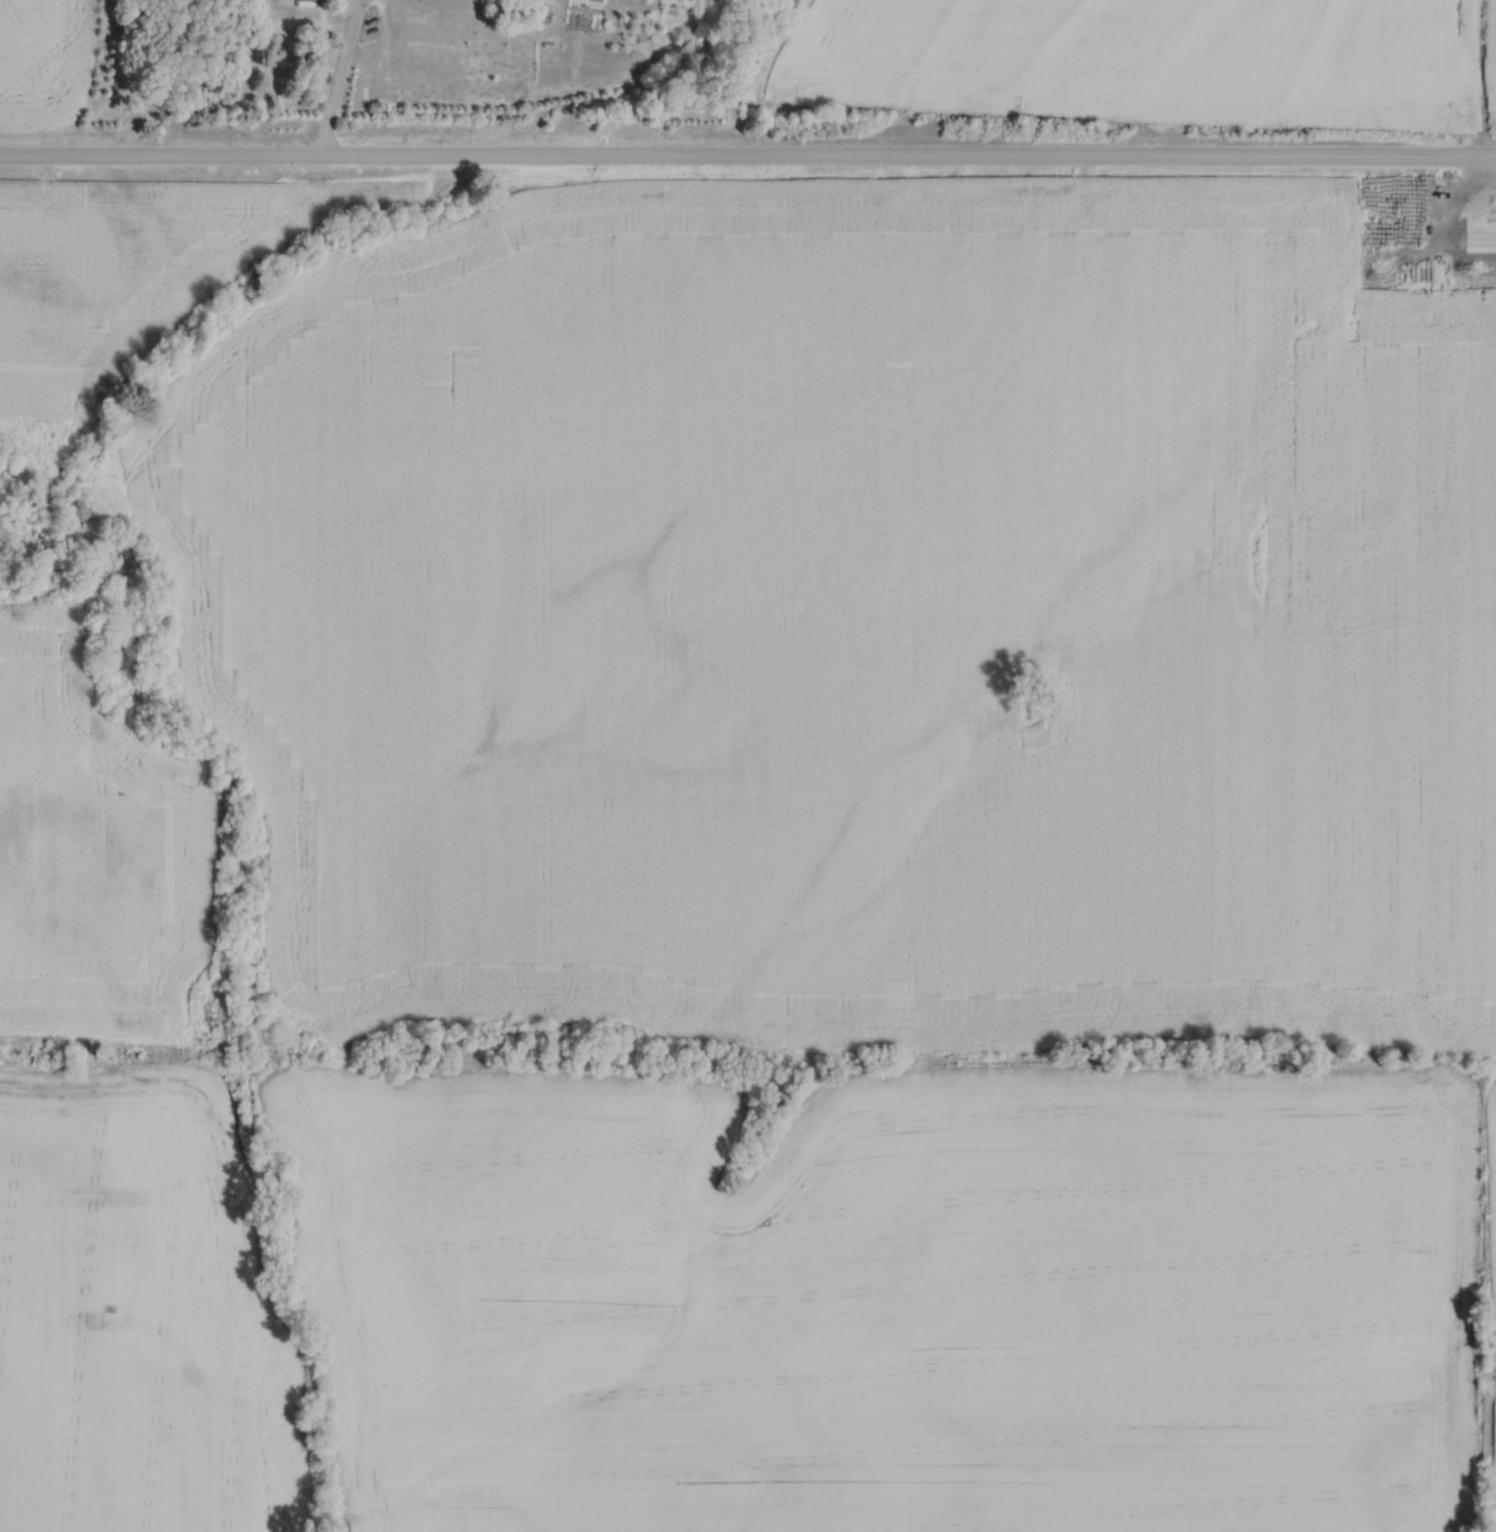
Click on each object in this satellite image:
building: (303, 0)
road: (337, 77)
road: (748, 160)

